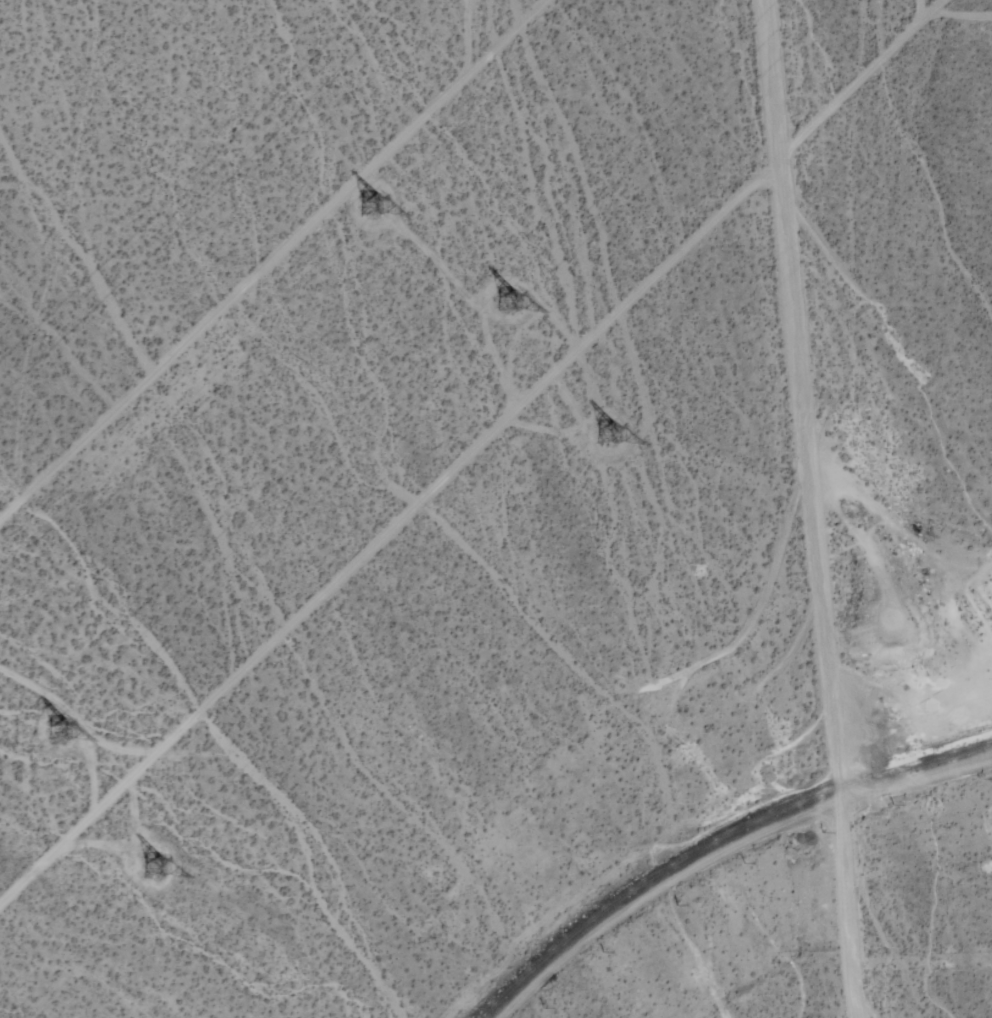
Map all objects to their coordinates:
power tower: (374, 198)
road: (276, 263)
power tower: (512, 305)
road: (802, 401)
power tower: (606, 440)
road: (472, 451)
power tower: (56, 733)
railway: (712, 839)
road: (725, 850)
power tower: (156, 865)
road: (845, 911)

